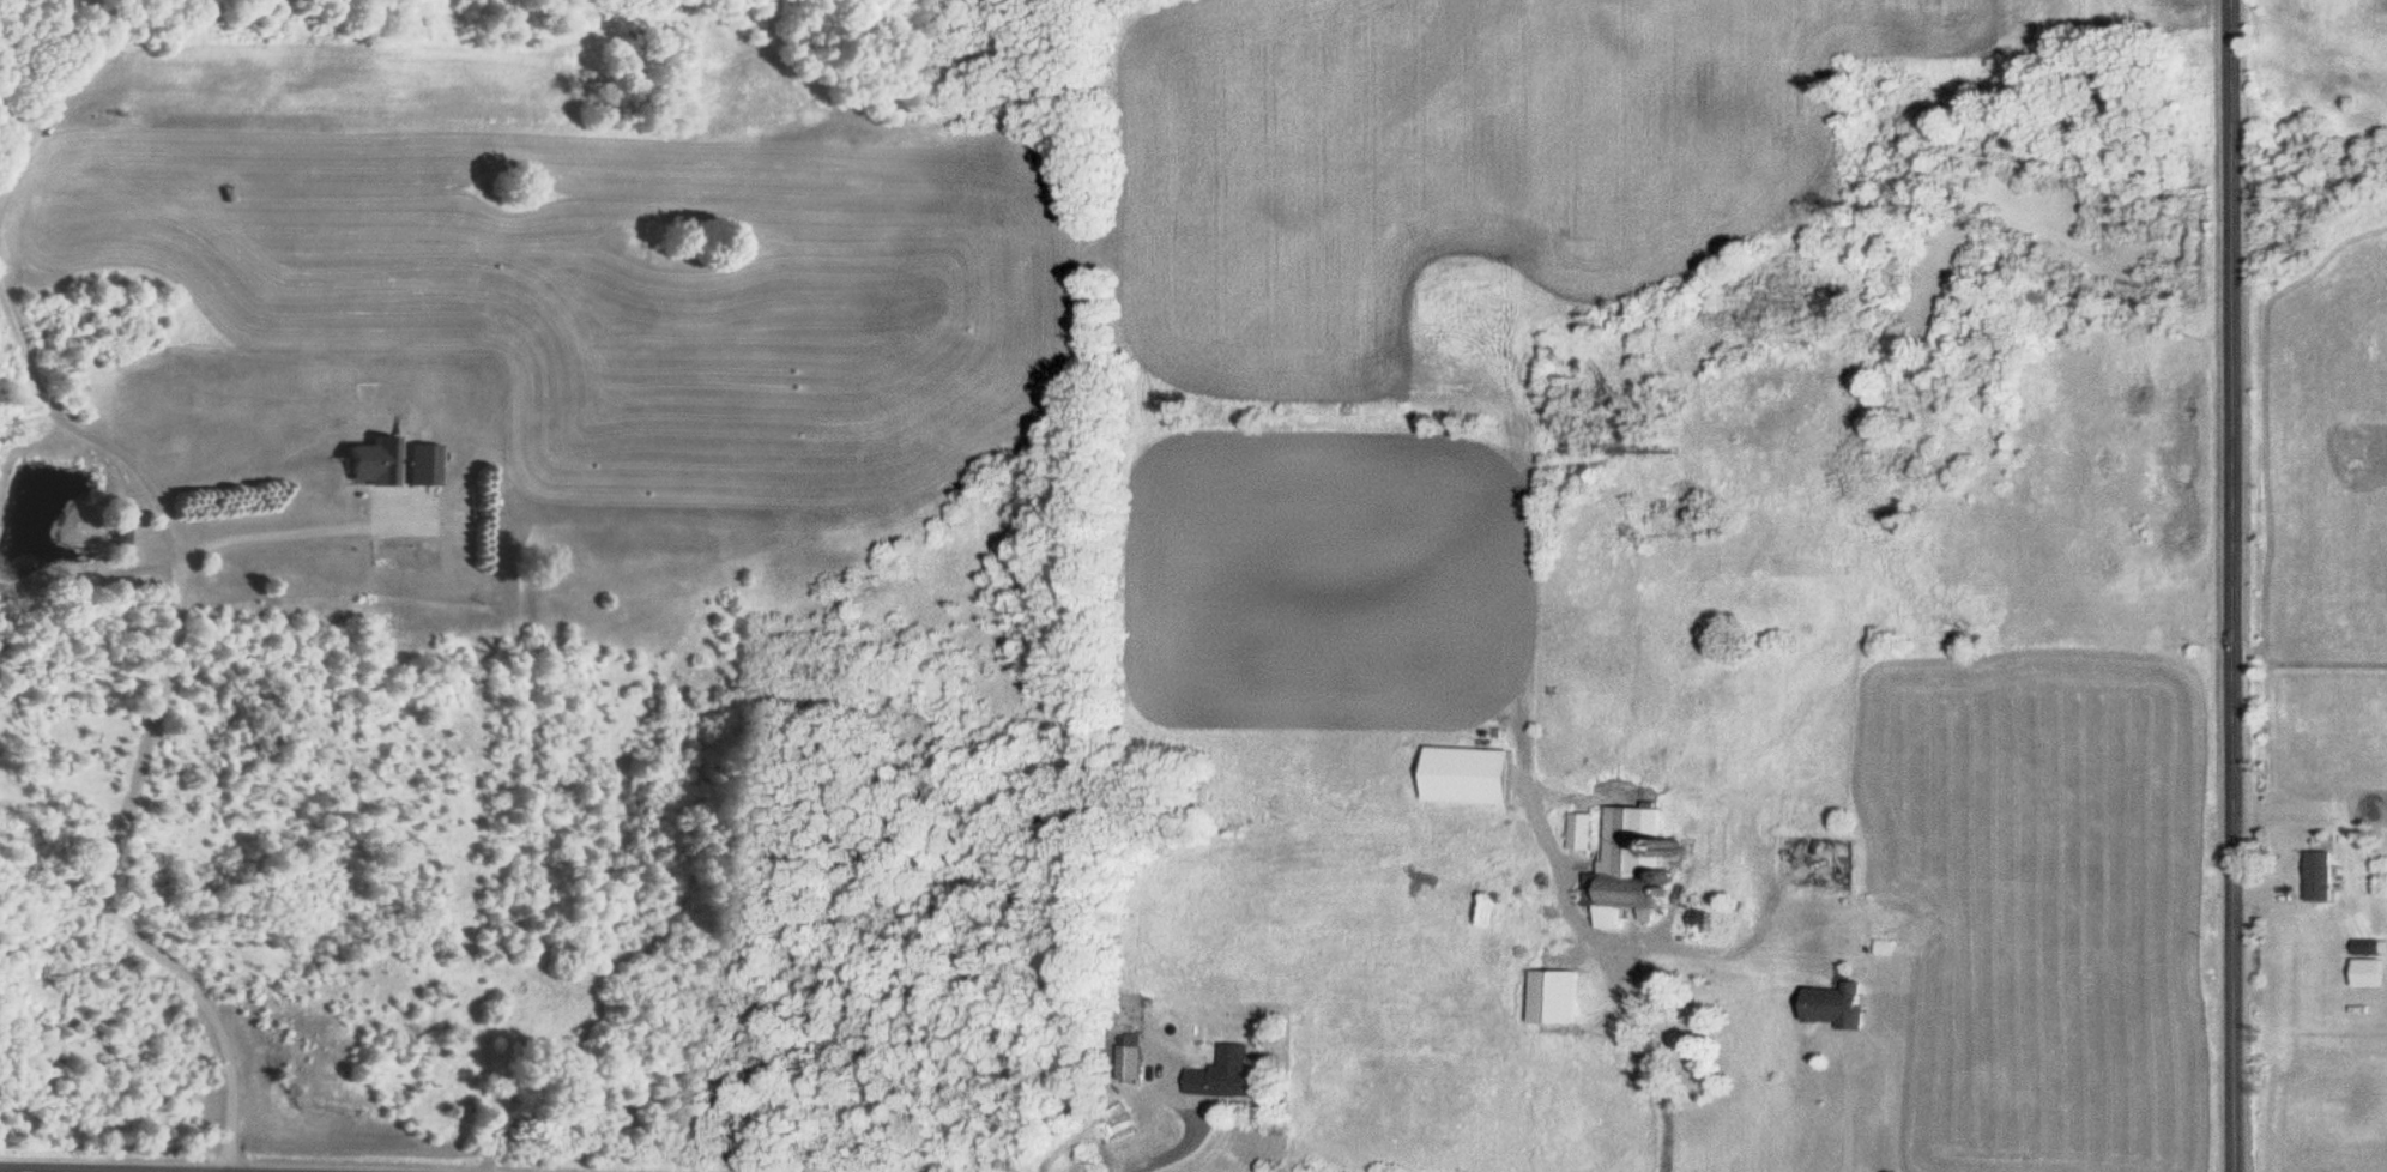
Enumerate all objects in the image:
building: (371, 463)
building: (422, 465)
building: (116, 538)
road: (2232, 586)
building: (1848, 717)
building: (1467, 774)
building: (1581, 830)
building: (1627, 865)
building: (2317, 875)
building: (2369, 973)
building: (1552, 996)
building: (1835, 1004)
building: (1225, 1074)
road: (2, 1171)

